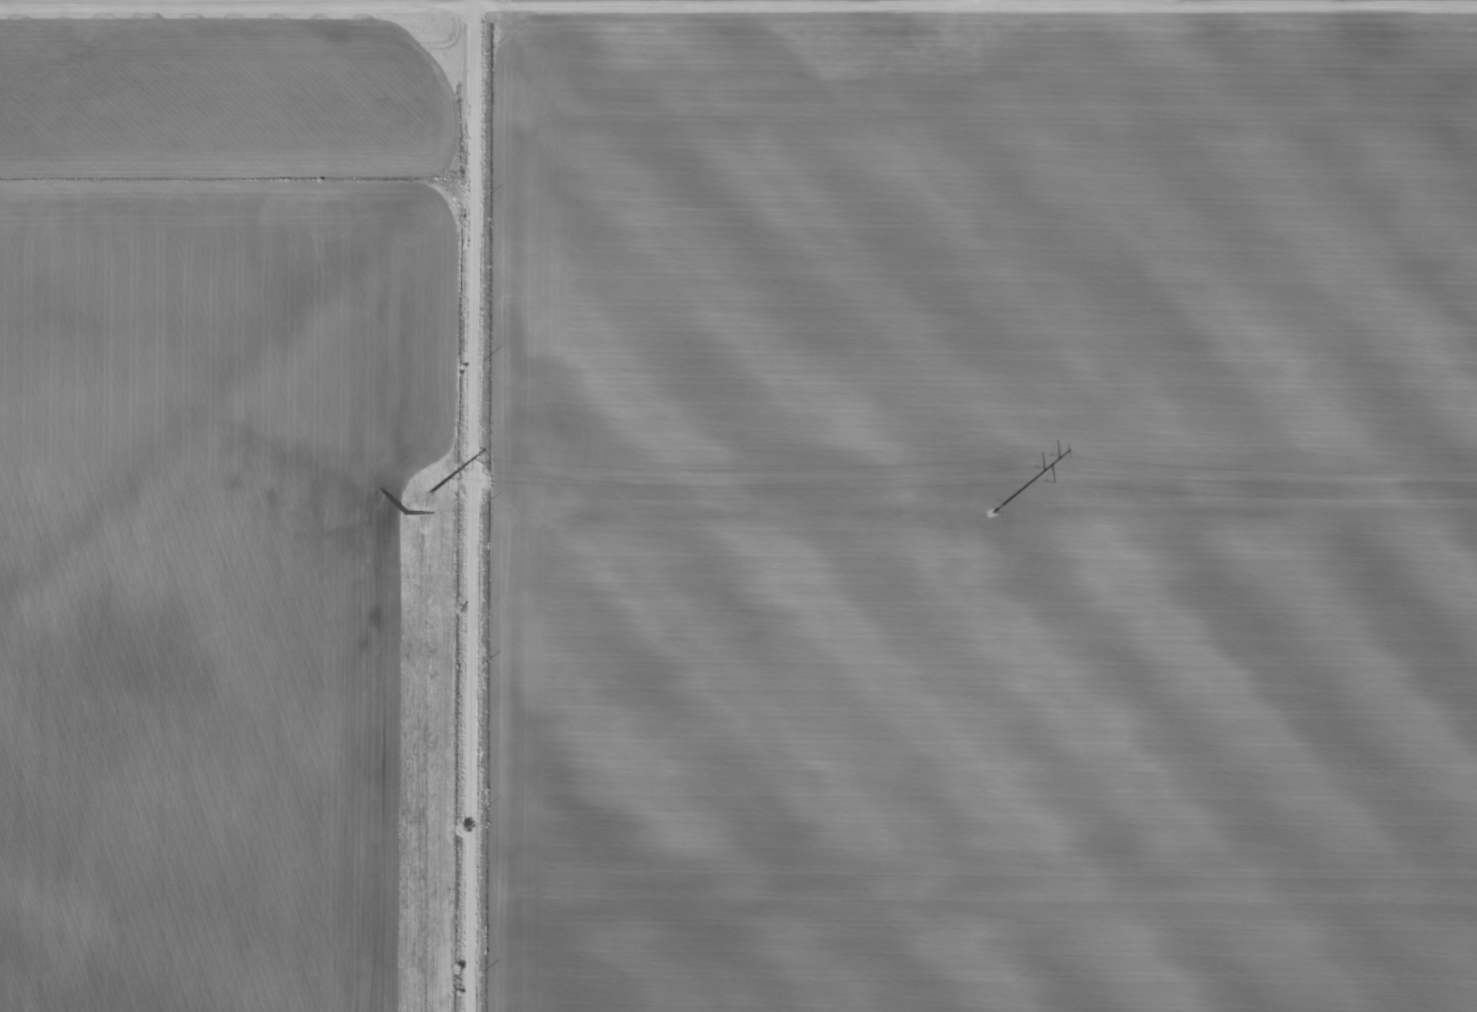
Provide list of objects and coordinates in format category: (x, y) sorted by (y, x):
road: (447, 506)

